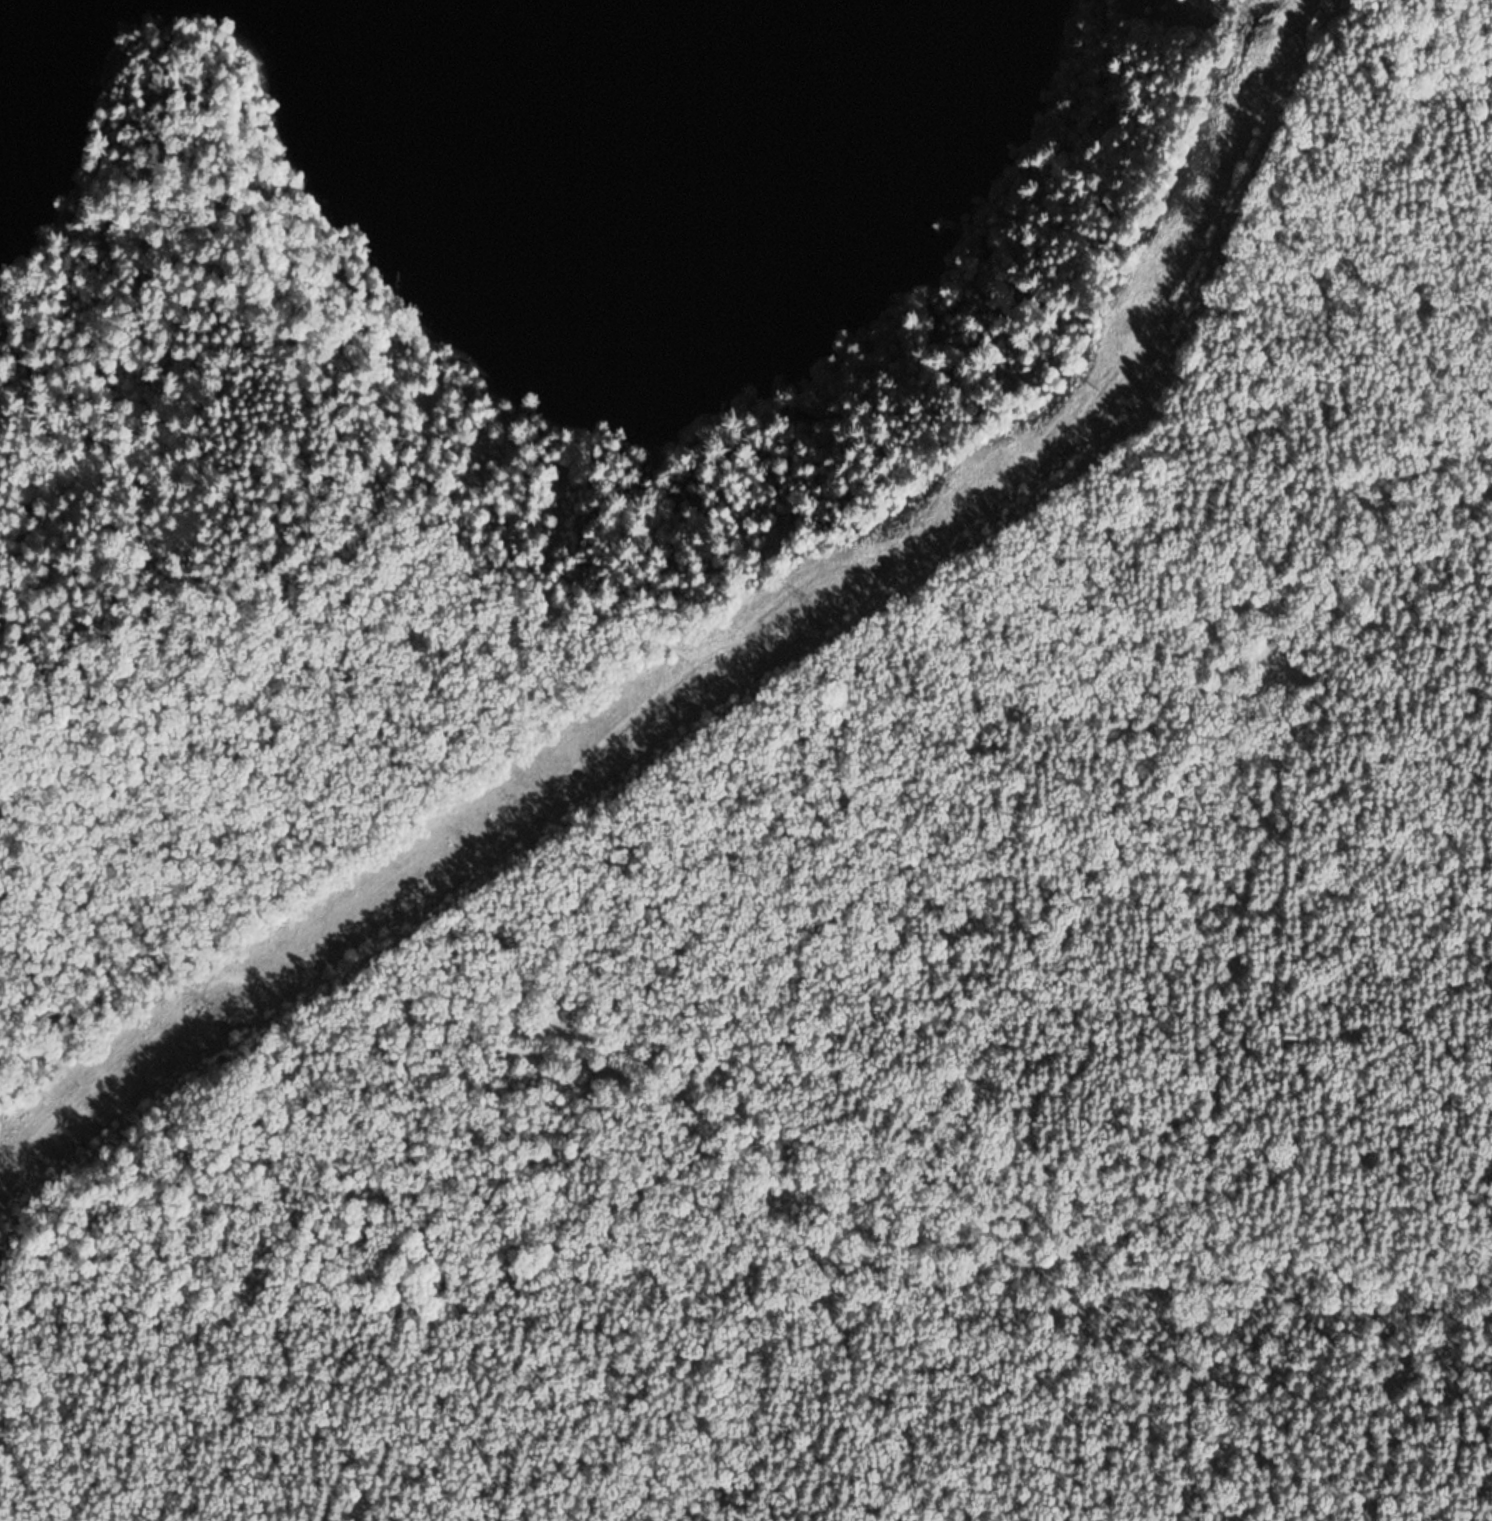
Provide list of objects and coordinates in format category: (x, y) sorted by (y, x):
power tower: (1093, 389)
power tower: (796, 598)
road: (797, 629)
power tower: (507, 802)
road: (1152, 804)

